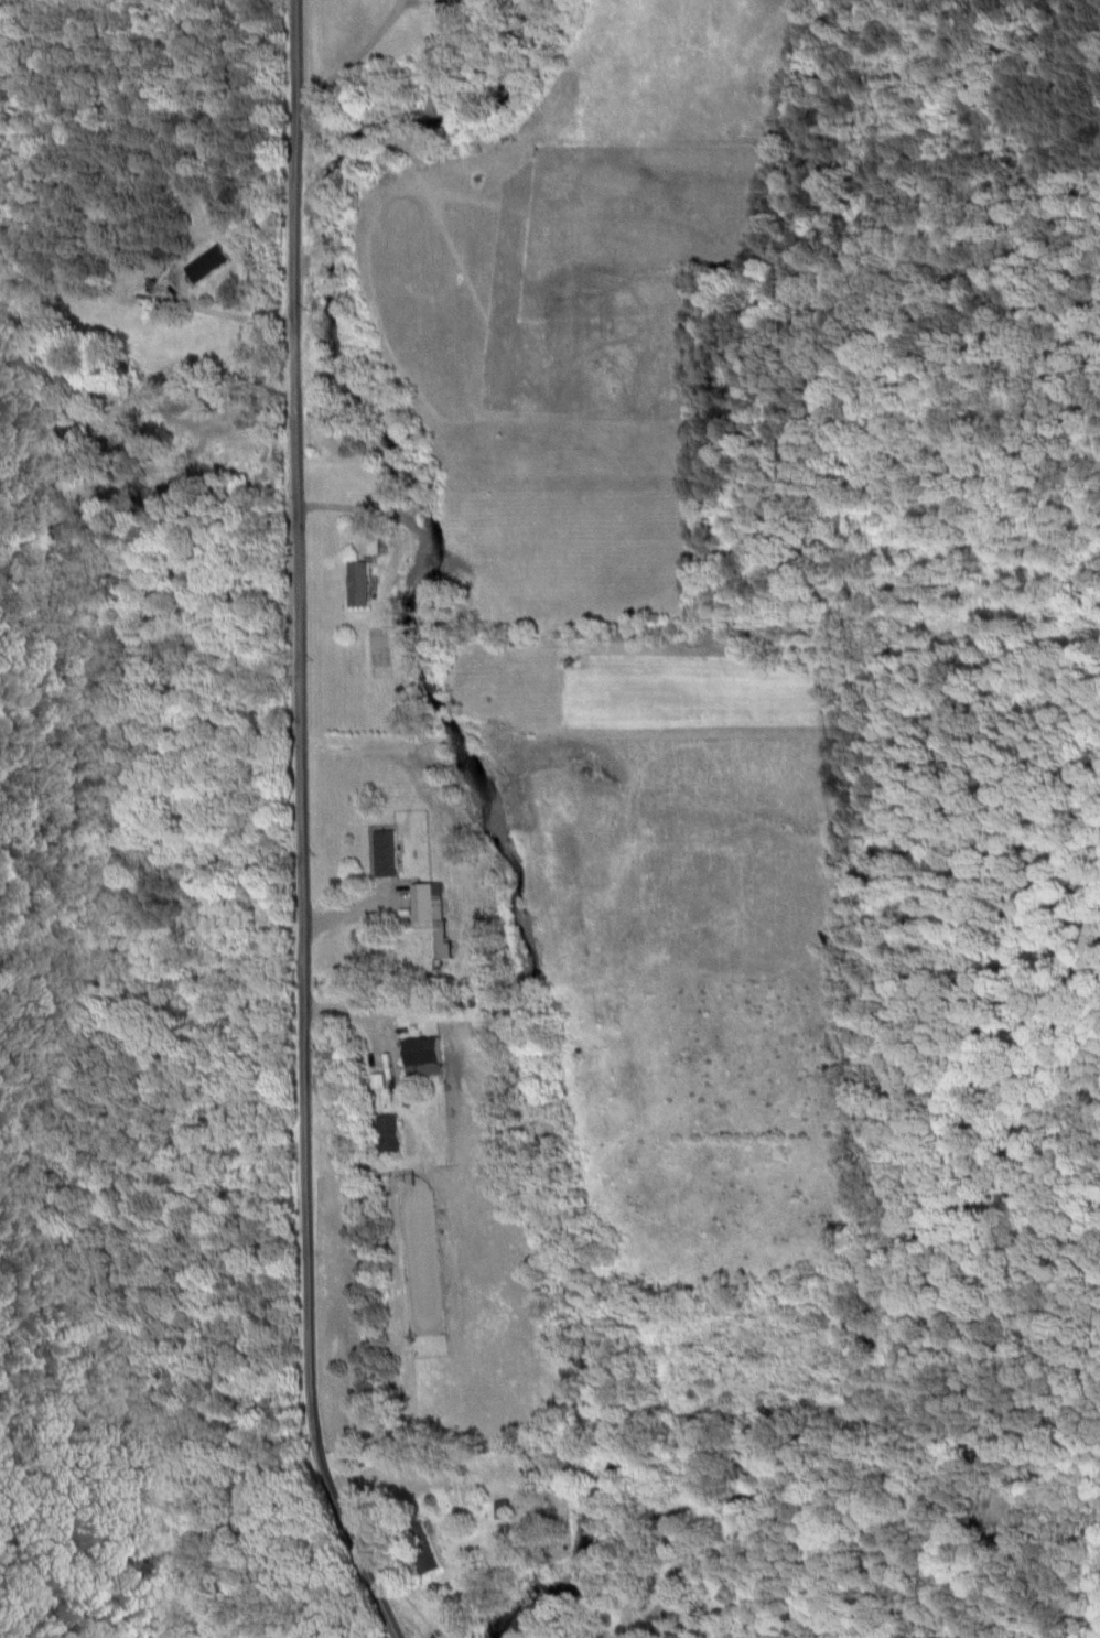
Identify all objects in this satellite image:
building: (208, 263)
building: (369, 545)
building: (359, 583)
road: (305, 827)
building: (387, 851)
building: (433, 915)
building: (427, 1054)
building: (389, 1131)

